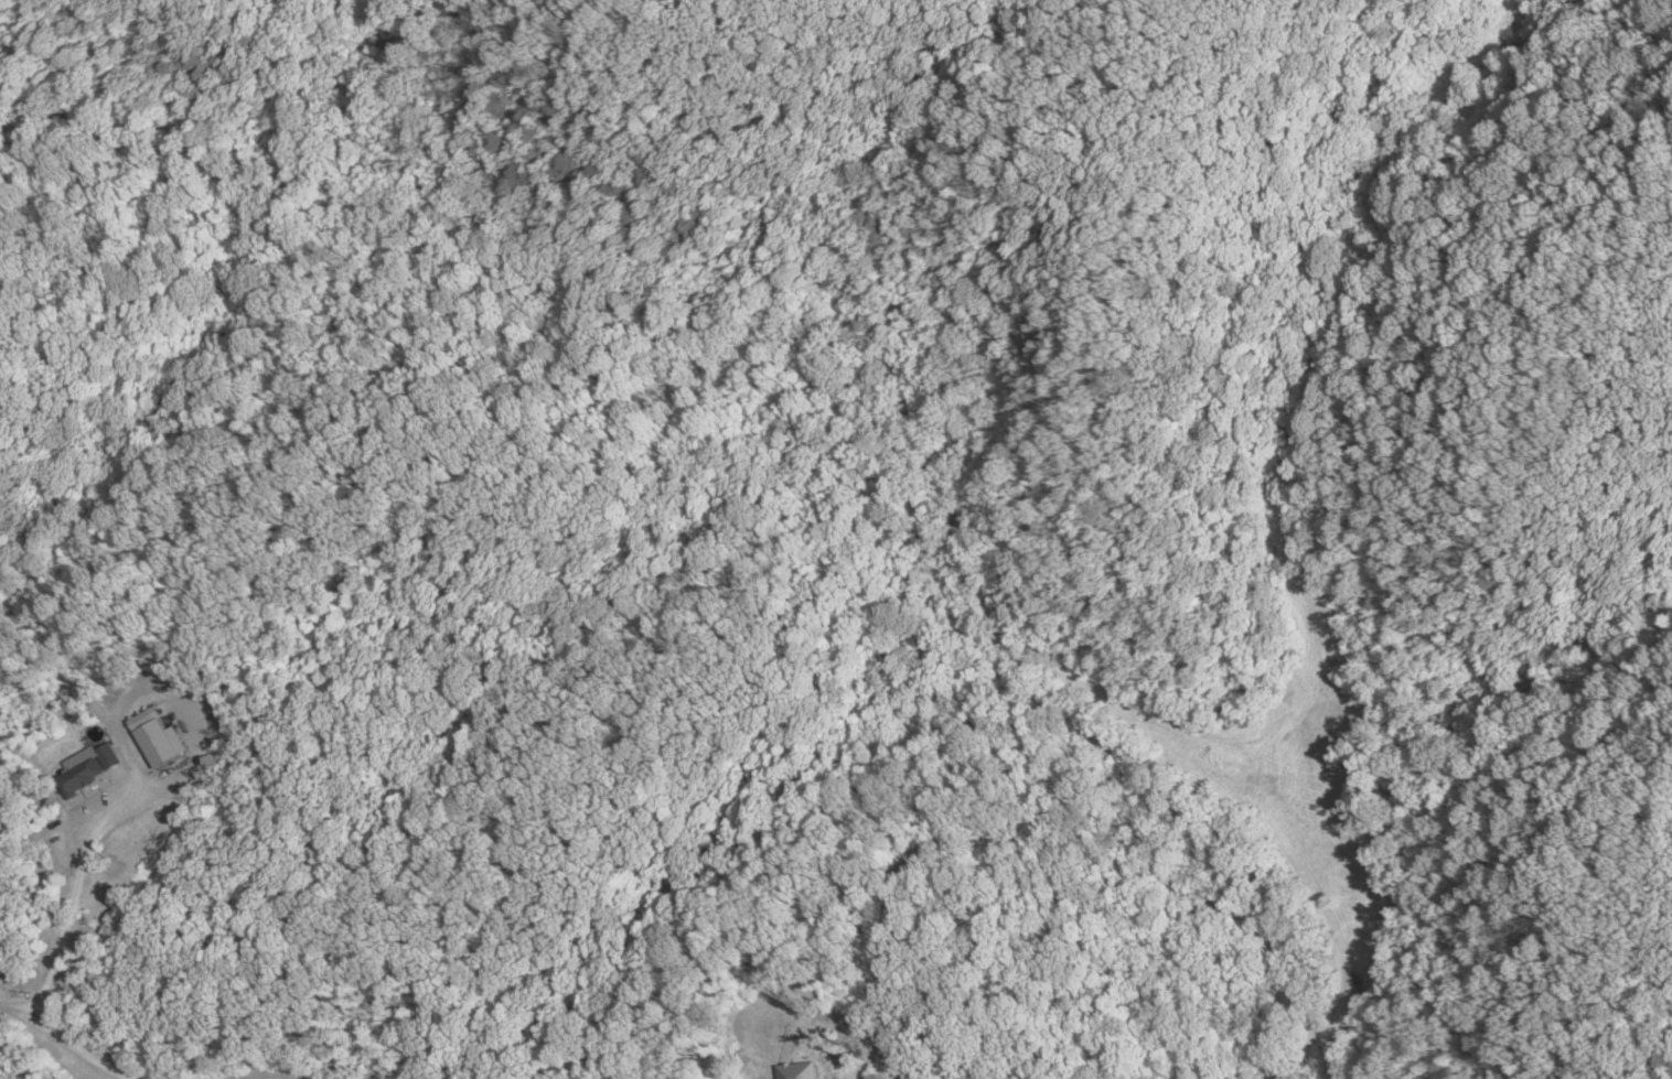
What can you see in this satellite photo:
building: (152, 714)
building: (162, 742)
building: (90, 767)
road: (1054, 850)
road: (64, 1043)
building: (796, 1070)

